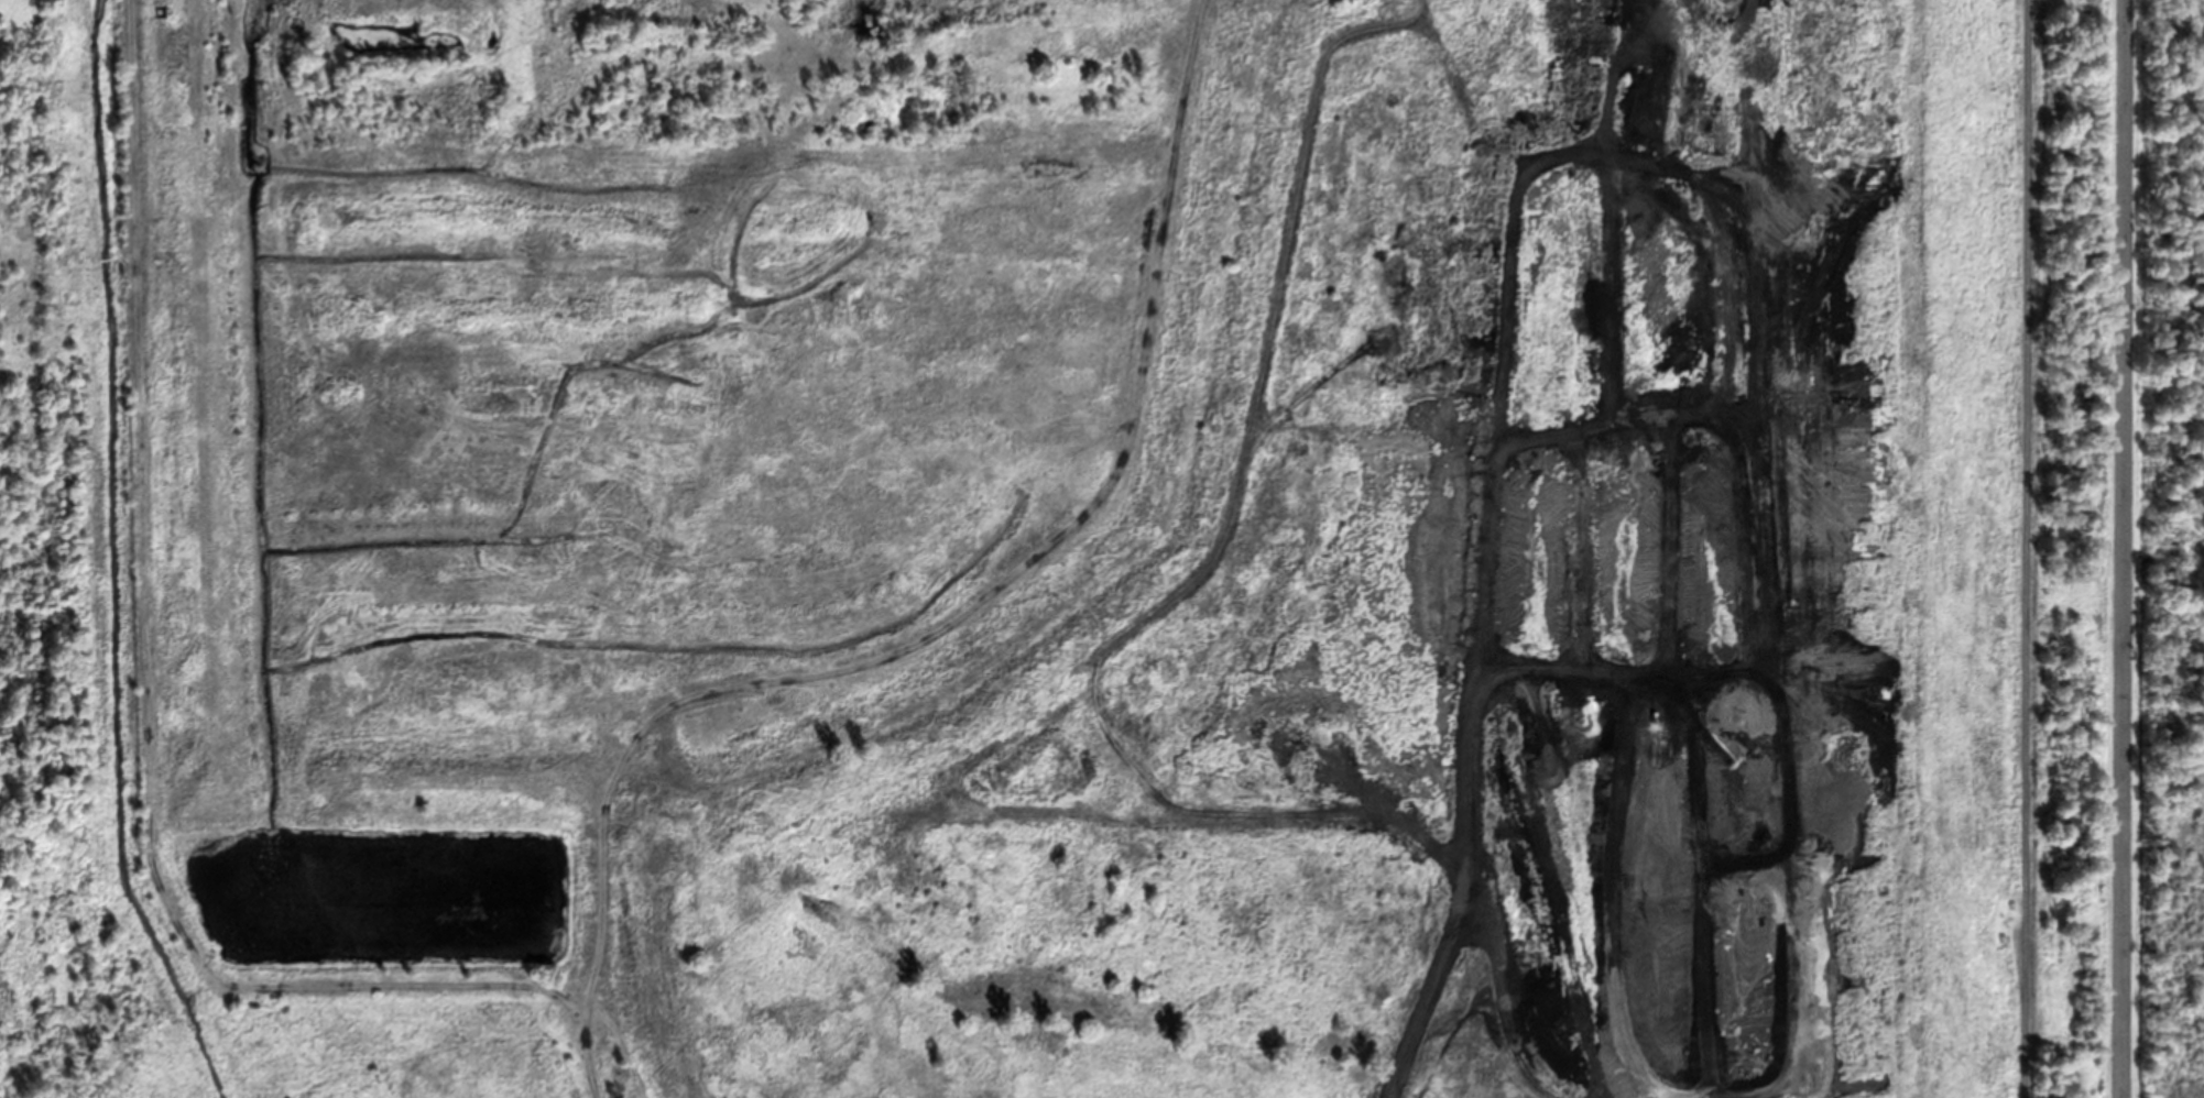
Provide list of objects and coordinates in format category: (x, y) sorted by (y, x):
road: (2114, 548)

